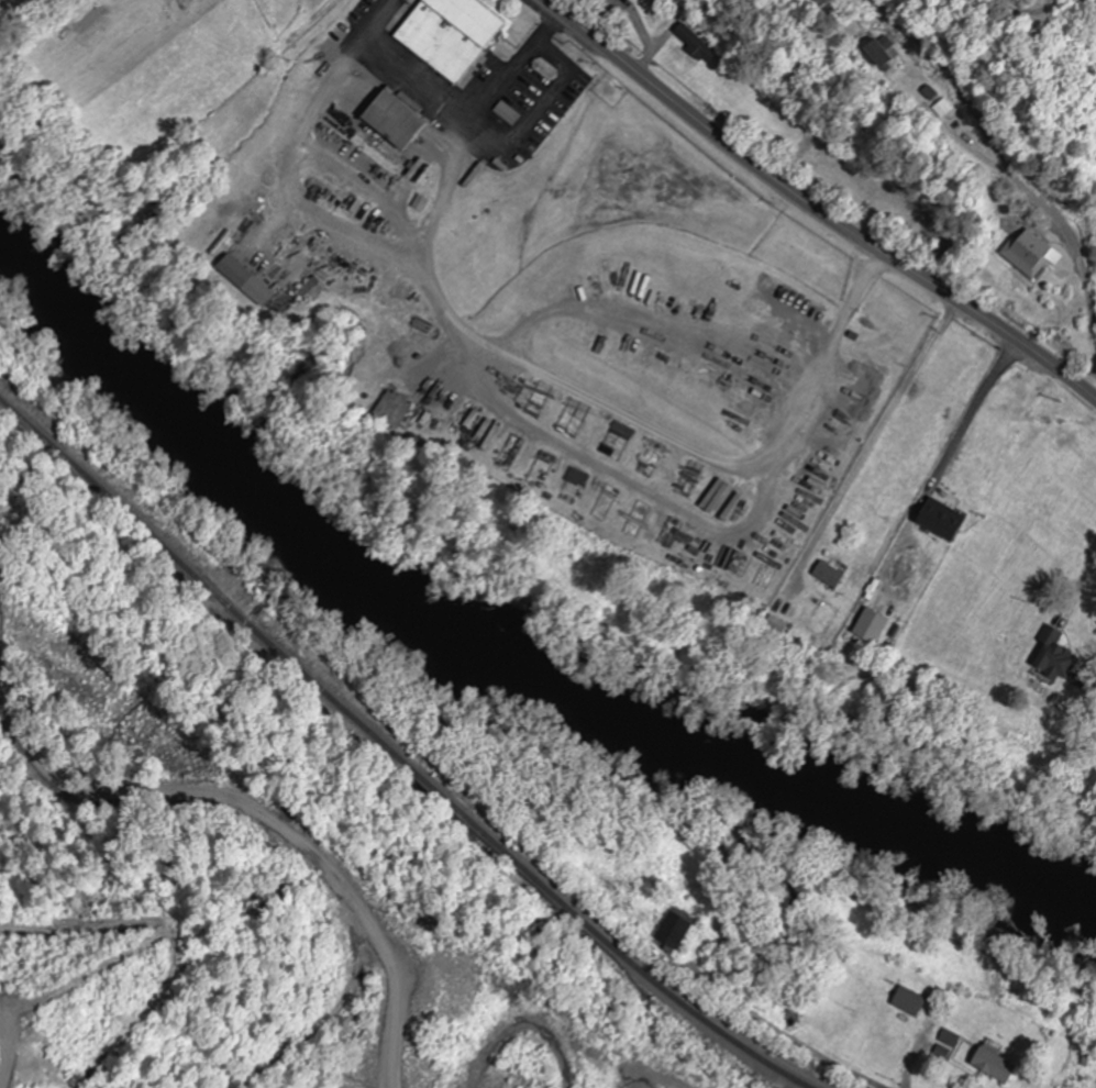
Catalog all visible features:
building: (449, 34)
building: (694, 43)
building: (875, 49)
road: (507, 79)
building: (930, 92)
building: (943, 109)
building: (392, 121)
road: (1020, 167)
road: (815, 208)
building: (1027, 253)
building: (233, 270)
building: (311, 290)
road: (851, 304)
road: (580, 393)
building: (392, 411)
building: (941, 514)
building: (828, 575)
building: (870, 626)
river: (492, 650)
building: (1054, 657)
railway: (394, 759)
building: (674, 931)
road: (796, 1046)
building: (995, 1065)

